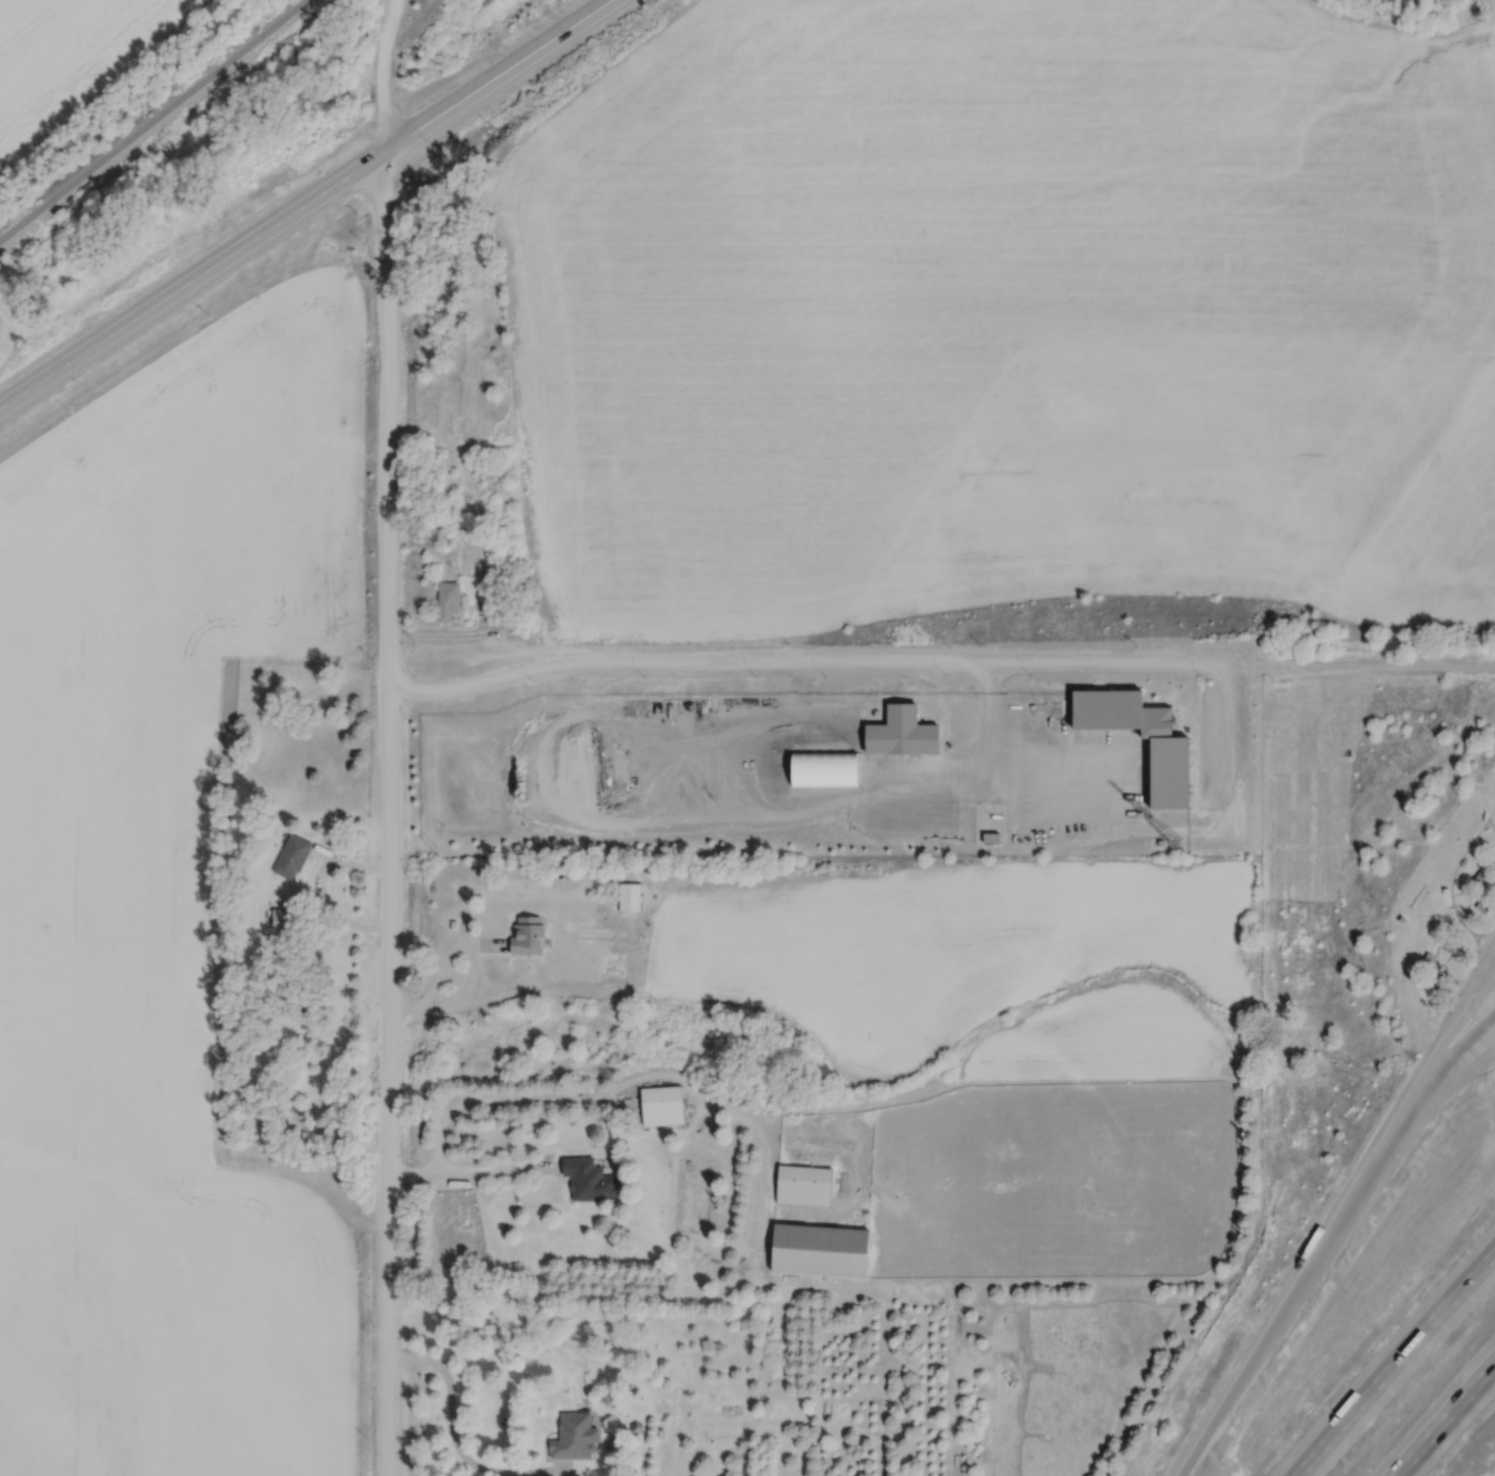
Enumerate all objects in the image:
road: (376, 78)
road: (496, 79)
railway: (153, 122)
road: (187, 285)
building: (497, 571)
building: (494, 597)
building: (453, 601)
road: (938, 652)
road: (985, 720)
road: (1220, 723)
building: (896, 732)
building: (1161, 770)
road: (385, 817)
road: (1490, 823)
building: (987, 836)
building: (295, 857)
road: (1453, 874)
road: (1488, 881)
road: (1493, 883)
road: (1494, 890)
road: (319, 892)
building: (626, 896)
road: (1489, 897)
road: (1480, 933)
building: (522, 934)
road: (1445, 959)
road: (1438, 962)
parking lot: (1479, 968)
road: (1443, 972)
road: (1461, 977)
road: (469, 997)
road: (403, 1013)
road: (1478, 1039)
road: (1441, 1050)
road: (1478, 1055)
road: (1424, 1099)
building: (658, 1105)
road: (471, 1175)
building: (580, 1177)
building: (800, 1185)
building: (814, 1250)
road: (1283, 1308)
road: (1394, 1362)
road: (450, 1403)
road: (1443, 1417)
building: (571, 1437)
road: (564, 1472)

